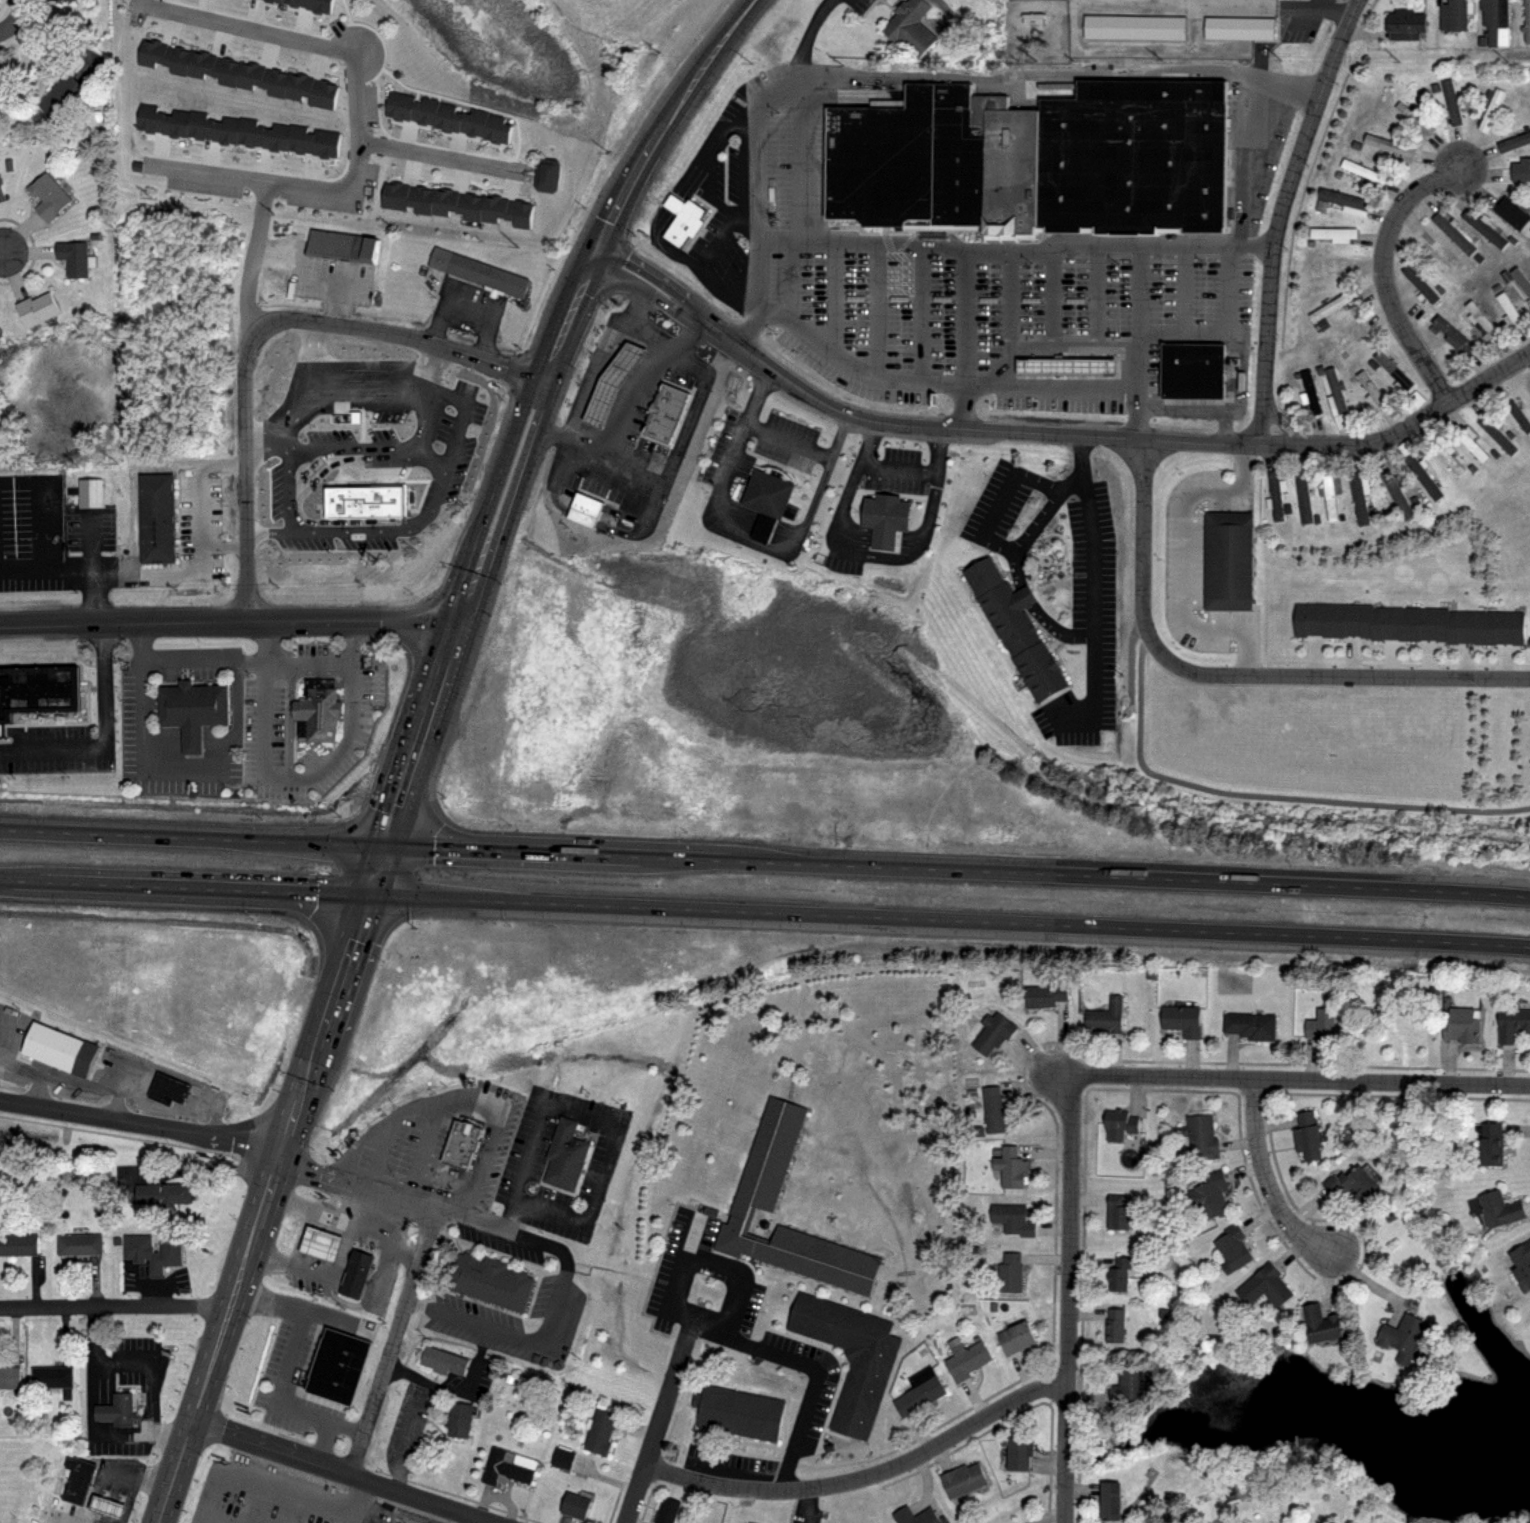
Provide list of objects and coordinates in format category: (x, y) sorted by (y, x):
building: (67, 0)
building: (281, 1)
building: (299, 2)
building: (1239, 3)
building: (323, 5)
road: (18, 14)
building: (1452, 15)
building: (1403, 20)
building: (1526, 21)
building: (1494, 22)
road: (248, 27)
building: (910, 27)
building: (1136, 28)
building: (1237, 28)
road: (5, 29)
building: (154, 53)
building: (182, 60)
building: (206, 65)
building: (230, 71)
road: (905, 73)
building: (253, 76)
building: (279, 82)
building: (303, 87)
building: (327, 94)
building: (63, 99)
building: (1450, 102)
building: (404, 106)
building: (1490, 110)
building: (429, 112)
building: (452, 118)
building: (1413, 118)
building: (153, 119)
building: (178, 122)
road: (357, 122)
building: (477, 123)
road: (668, 124)
building: (202, 125)
road: (1246, 127)
building: (229, 129)
building: (500, 129)
building: (252, 132)
building: (279, 137)
building: (302, 140)
building: (1513, 142)
building: (328, 143)
building: (1388, 145)
road: (436, 158)
building: (1031, 159)
building: (1520, 170)
building: (1362, 171)
building: (549, 175)
road: (254, 182)
building: (2, 189)
building: (390, 195)
building: (51, 197)
building: (403, 197)
building: (1342, 198)
building: (422, 199)
building: (446, 201)
building: (472, 205)
building: (496, 209)
building: (516, 211)
building: (1510, 213)
building: (527, 215)
road: (1280, 215)
building: (685, 218)
building: (1483, 229)
building: (1332, 233)
building: (1452, 233)
building: (341, 246)
road: (1141, 252)
road: (1, 253)
building: (1430, 254)
traffic signals: (594, 258)
building: (77, 259)
road: (251, 261)
road: (312, 272)
building: (478, 274)
road: (1383, 274)
building: (1518, 280)
building: (1419, 284)
parking lot: (954, 288)
building: (1331, 306)
building: (1507, 308)
building: (38, 309)
road: (568, 319)
building: (1481, 320)
building: (1452, 334)
road: (416, 339)
road: (667, 342)
road: (854, 365)
road: (369, 368)
building: (1393, 369)
building: (1191, 373)
road: (593, 375)
road: (1070, 384)
building: (608, 385)
building: (1335, 391)
building: (1370, 392)
building: (1309, 393)
building: (1414, 399)
road: (1195, 405)
building: (668, 416)
building: (1518, 416)
building: (416, 429)
building: (1495, 434)
road: (782, 436)
road: (1051, 436)
building: (1470, 442)
road: (244, 459)
building: (1447, 459)
road: (617, 474)
building: (1422, 477)
building: (88, 492)
building: (1331, 493)
building: (1396, 494)
building: (1359, 496)
building: (1276, 497)
building: (1303, 497)
building: (768, 501)
road: (296, 506)
building: (583, 509)
building: (158, 512)
building: (886, 520)
road: (660, 532)
road: (990, 534)
road: (224, 542)
road: (1180, 562)
building: (1227, 563)
road: (172, 570)
road: (1088, 571)
road: (98, 597)
road: (229, 621)
building: (1400, 623)
building: (1014, 630)
road: (454, 638)
road: (272, 641)
road: (356, 641)
road: (192, 654)
road: (1232, 673)
building: (39, 696)
building: (194, 704)
building: (319, 704)
road: (106, 736)
parking lot: (64, 752)
road: (221, 765)
road: (1273, 794)
traffic signals: (385, 847)
road: (765, 862)
traffic signals: (369, 897)
road: (765, 913)
building: (1044, 995)
building: (1104, 1016)
building: (1182, 1019)
building: (1464, 1022)
building: (1512, 1022)
building: (1251, 1025)
building: (1320, 1025)
building: (991, 1031)
building: (62, 1043)
road: (1294, 1080)
building: (166, 1082)
road: (476, 1097)
building: (991, 1108)
road: (600, 1118)
road: (143, 1120)
building: (1120, 1124)
road: (378, 1127)
building: (1307, 1135)
building: (1198, 1137)
building: (1491, 1143)
building: (460, 1145)
road: (381, 1153)
building: (769, 1156)
building: (568, 1157)
building: (1011, 1166)
road: (1266, 1180)
building: (1361, 1183)
building: (165, 1193)
building: (1211, 1193)
road: (400, 1197)
building: (1497, 1207)
road: (264, 1210)
building: (1117, 1213)
building: (1014, 1217)
road: (348, 1234)
road: (392, 1236)
building: (19, 1244)
building: (82, 1244)
building: (320, 1246)
building: (1232, 1248)
road: (407, 1251)
building: (168, 1255)
road: (269, 1256)
building: (1521, 1261)
road: (307, 1269)
building: (1008, 1271)
building: (355, 1274)
building: (1119, 1274)
building: (489, 1279)
building: (1271, 1284)
road: (1070, 1297)
road: (115, 1309)
road: (707, 1321)
building: (1319, 1324)
building: (1113, 1325)
road: (92, 1334)
building: (1403, 1335)
building: (1013, 1337)
road: (540, 1338)
road: (391, 1341)
road: (289, 1345)
road: (114, 1357)
building: (965, 1358)
building: (446, 1361)
building: (339, 1368)
building: (53, 1371)
building: (10, 1373)
building: (1126, 1385)
building: (862, 1390)
building: (918, 1391)
road: (806, 1406)
building: (117, 1408)
parking lot: (811, 1410)
building: (739, 1413)
road: (661, 1420)
building: (460, 1421)
road: (325, 1422)
building: (600, 1430)
building: (1018, 1451)
building: (560, 1457)
building: (510, 1467)
road: (341, 1472)
road: (866, 1475)
building: (78, 1479)
building: (961, 1479)
road: (272, 1484)
building: (1110, 1500)
building: (103, 1505)
building: (575, 1507)
road: (800, 1507)
building: (665, 1511)
building: (915, 1516)
road: (65, 1518)
building: (745, 1522)
building: (749, 1522)

